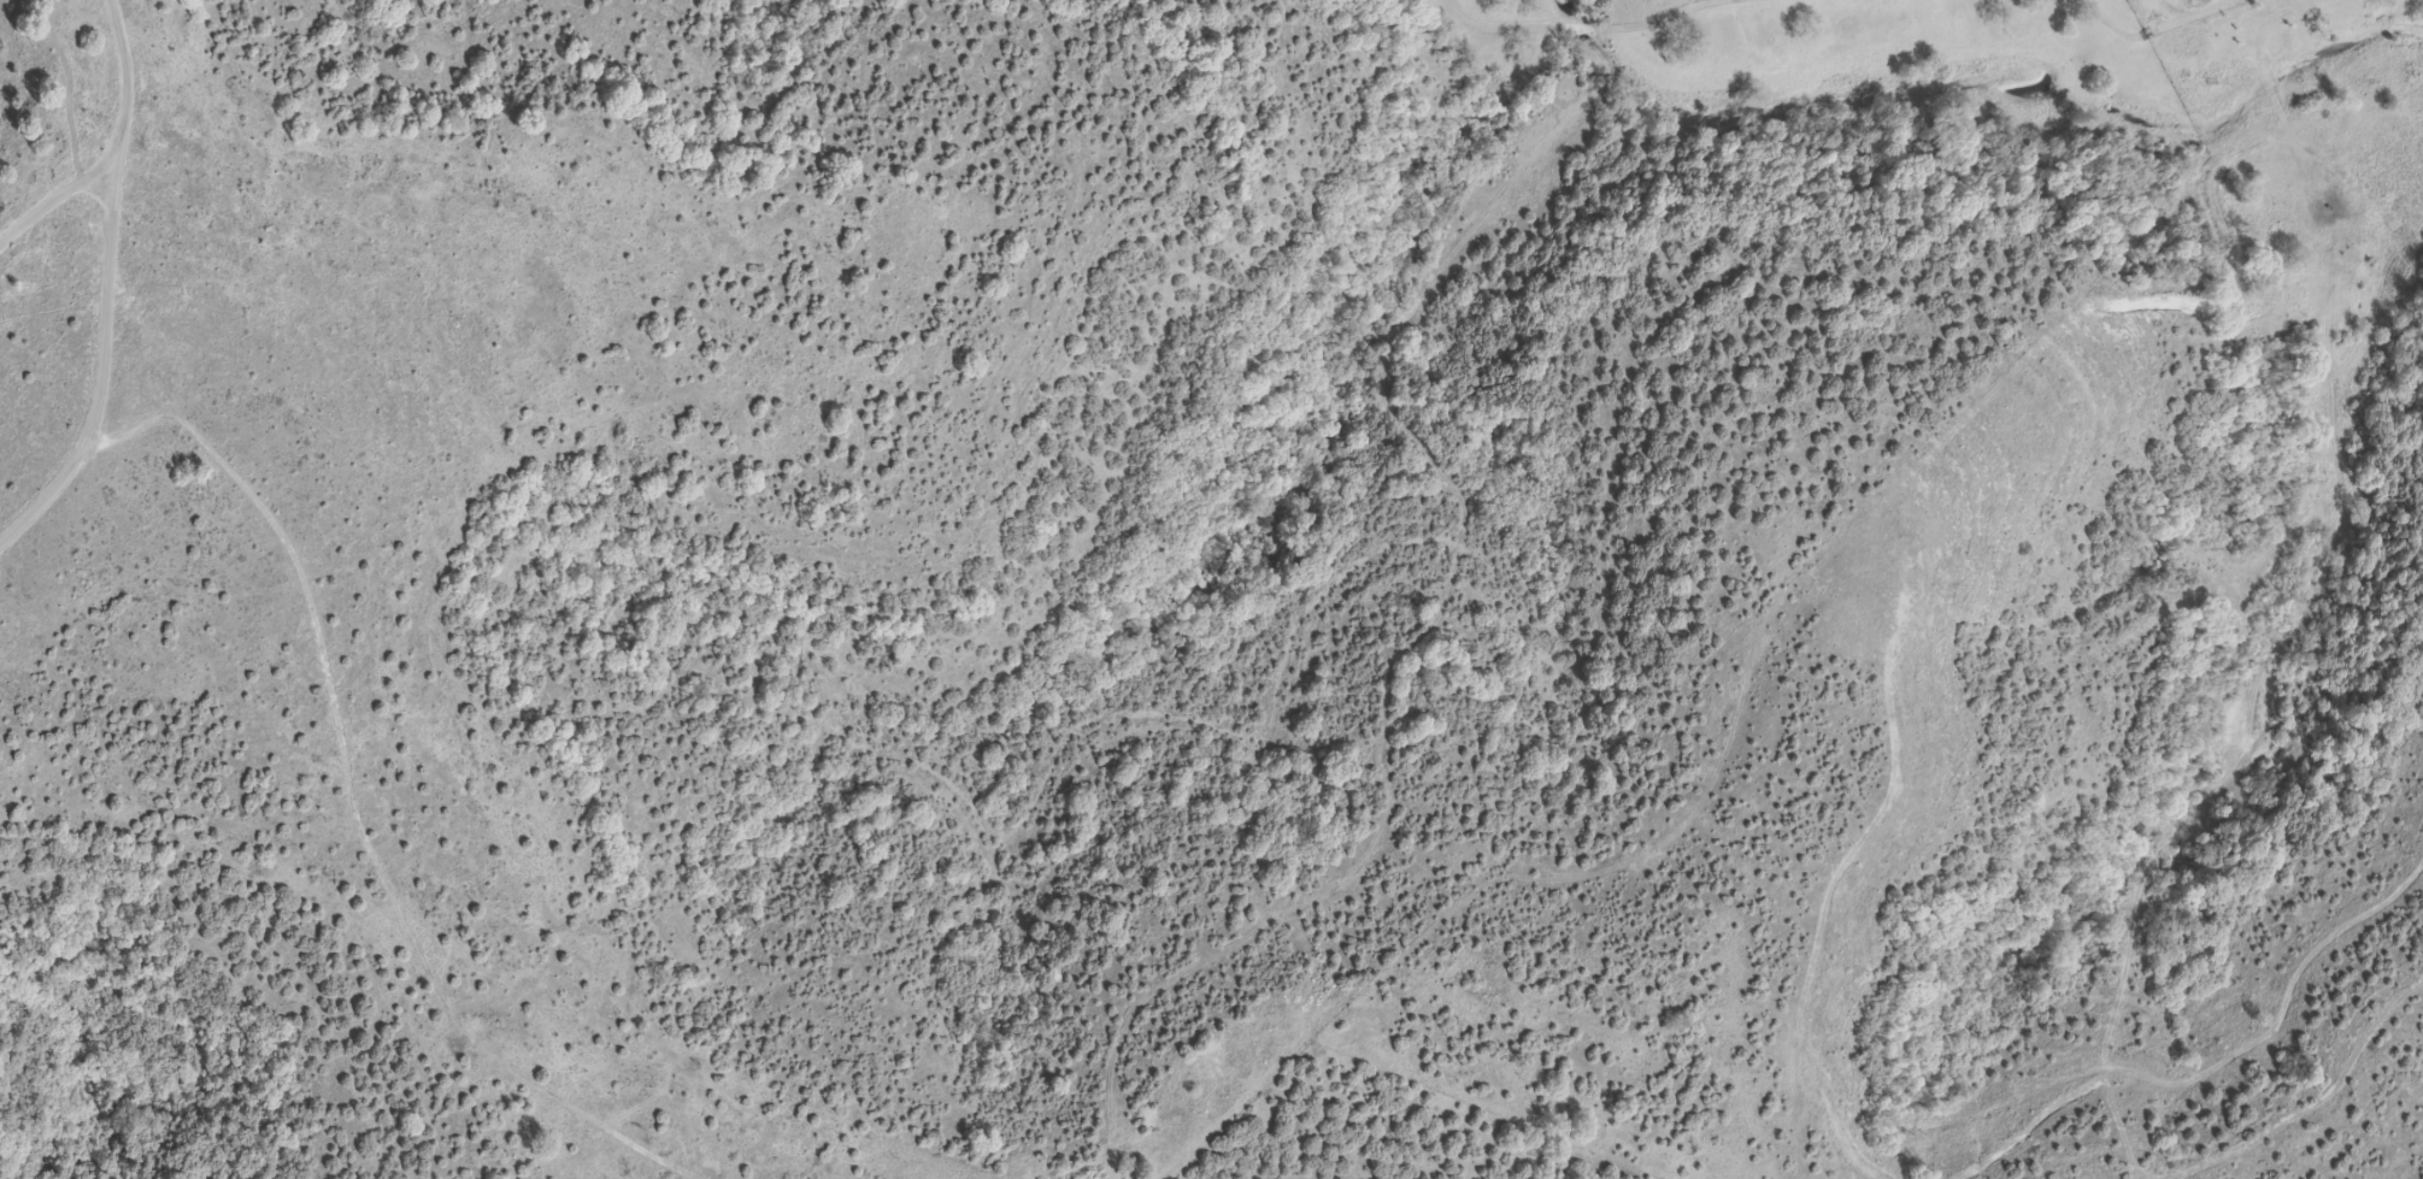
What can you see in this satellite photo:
road: (55, 208)
road: (116, 295)

